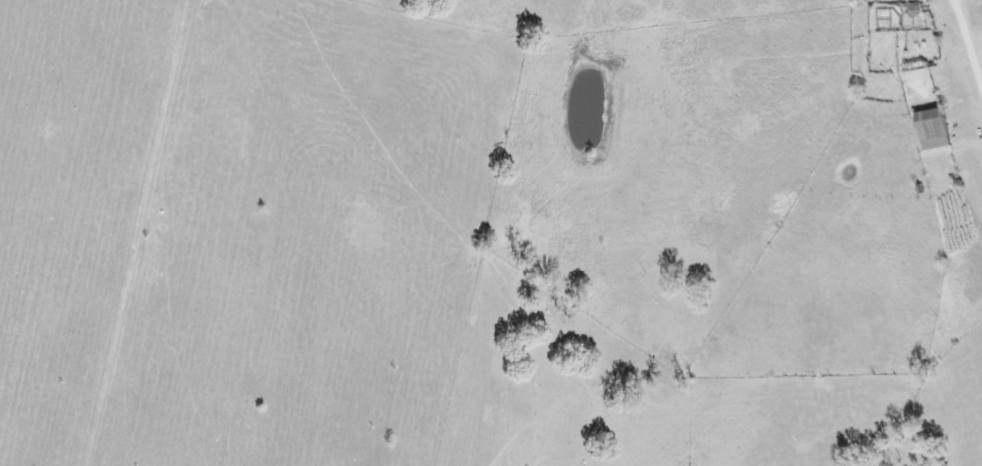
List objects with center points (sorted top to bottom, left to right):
building: (933, 130)

